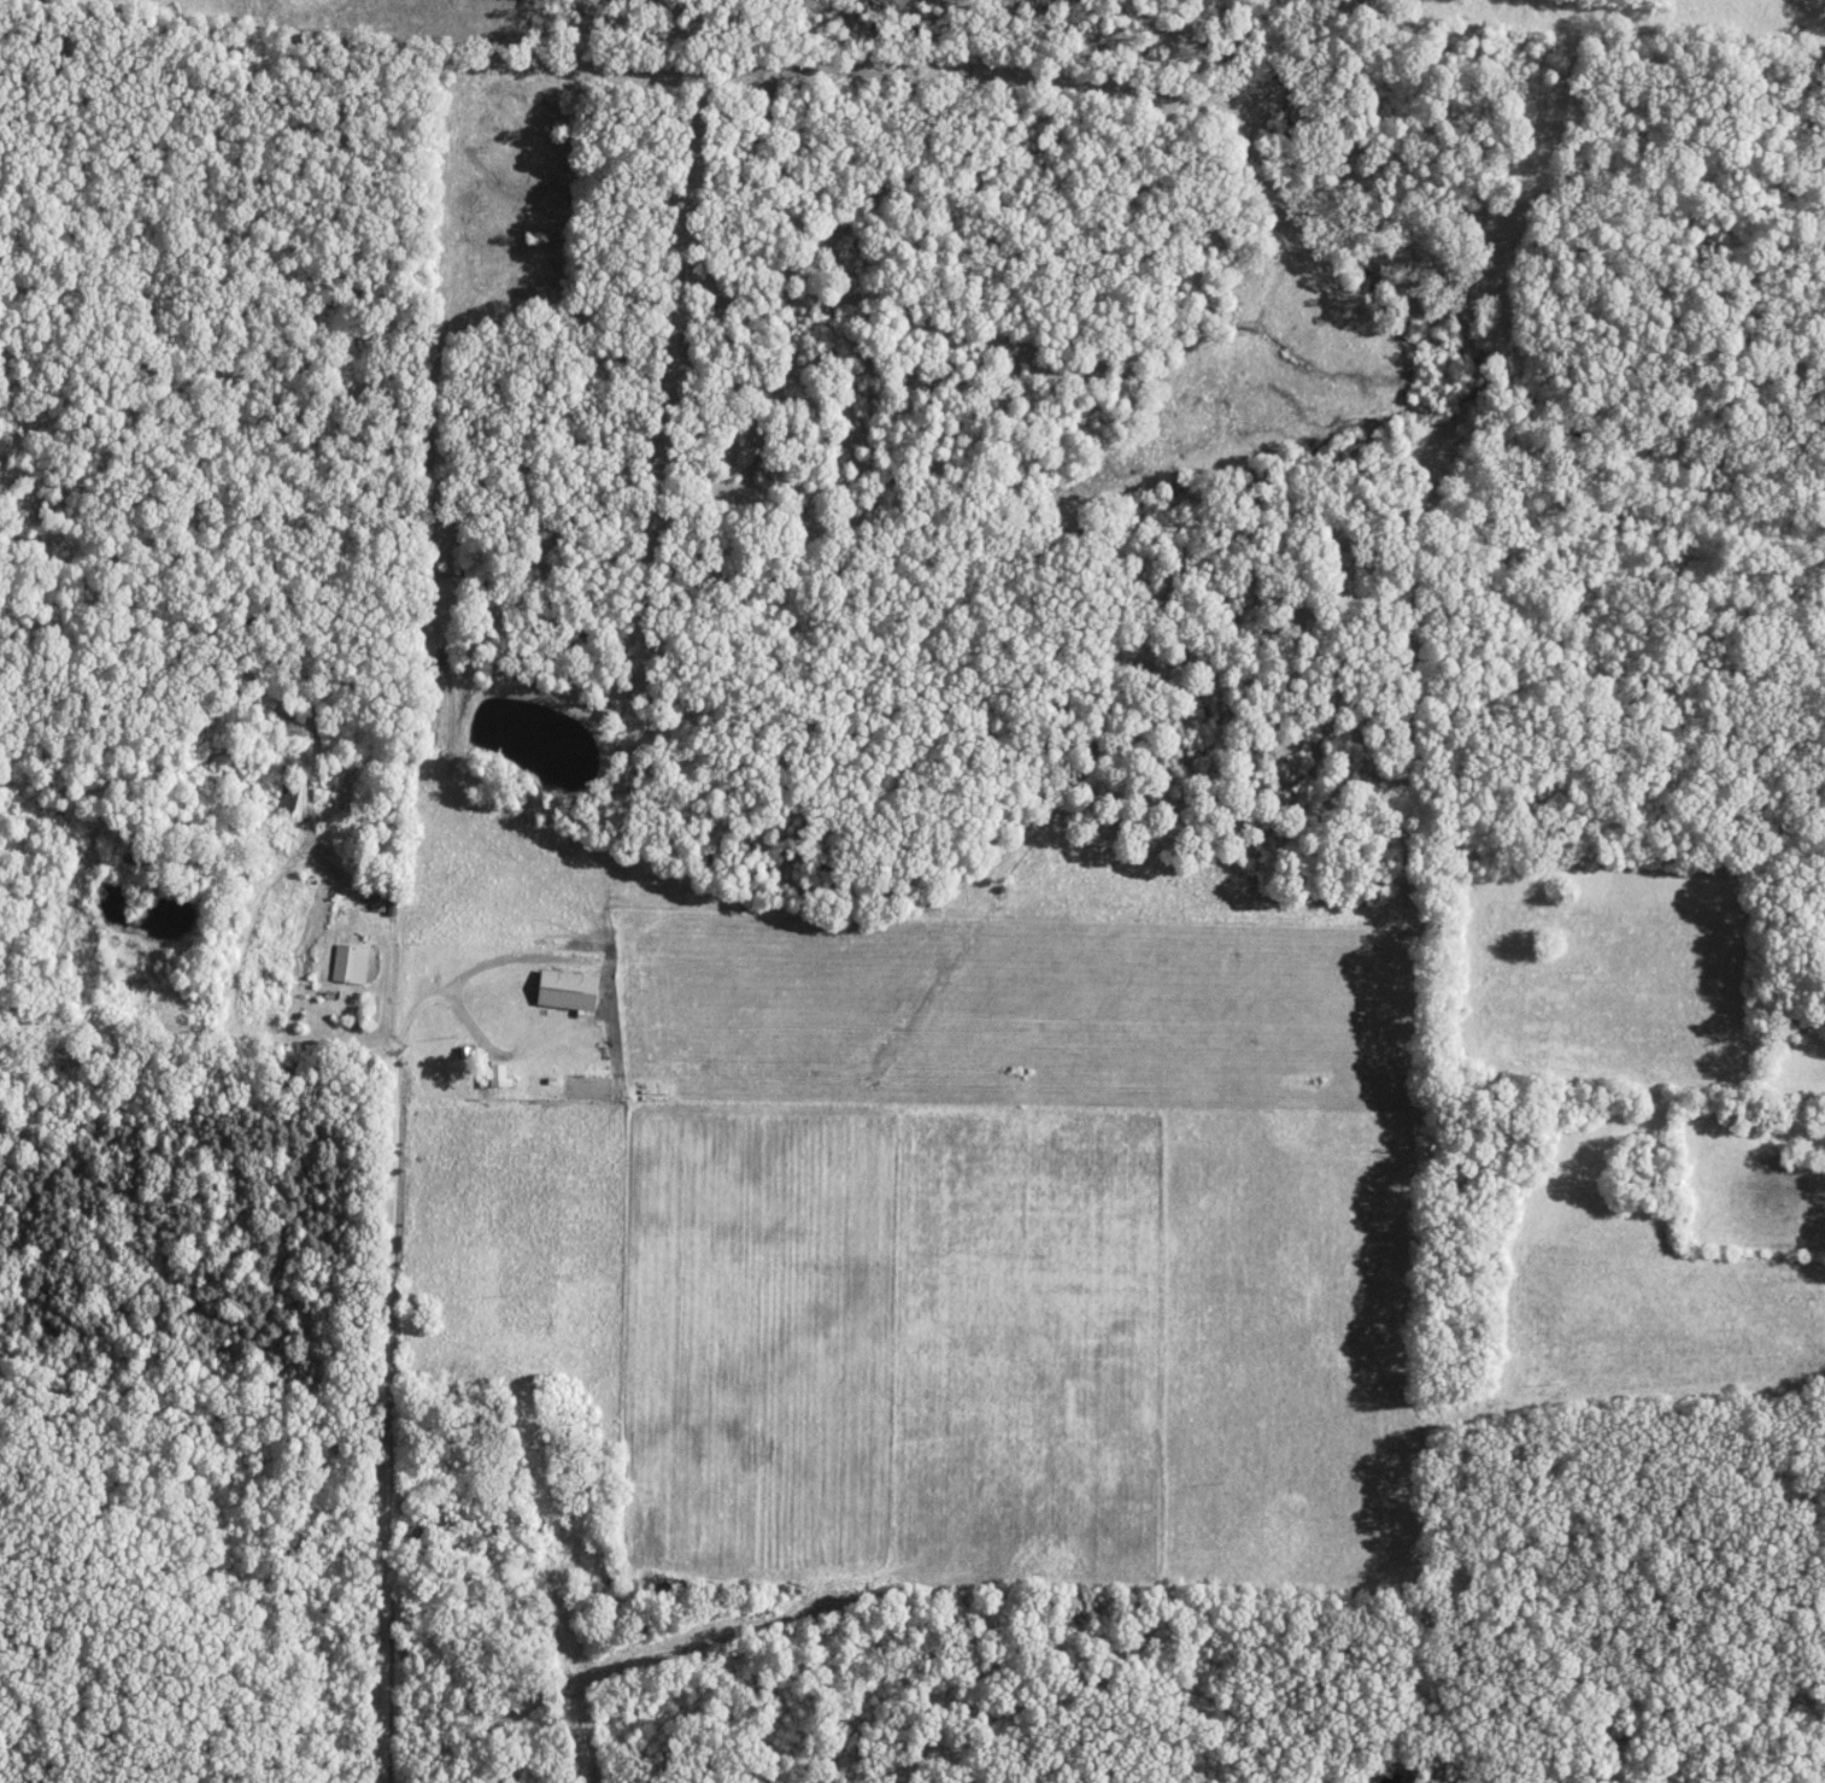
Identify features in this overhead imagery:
building: (352, 966)
building: (571, 992)
building: (503, 1077)
road: (388, 1351)
road: (487, 1513)

